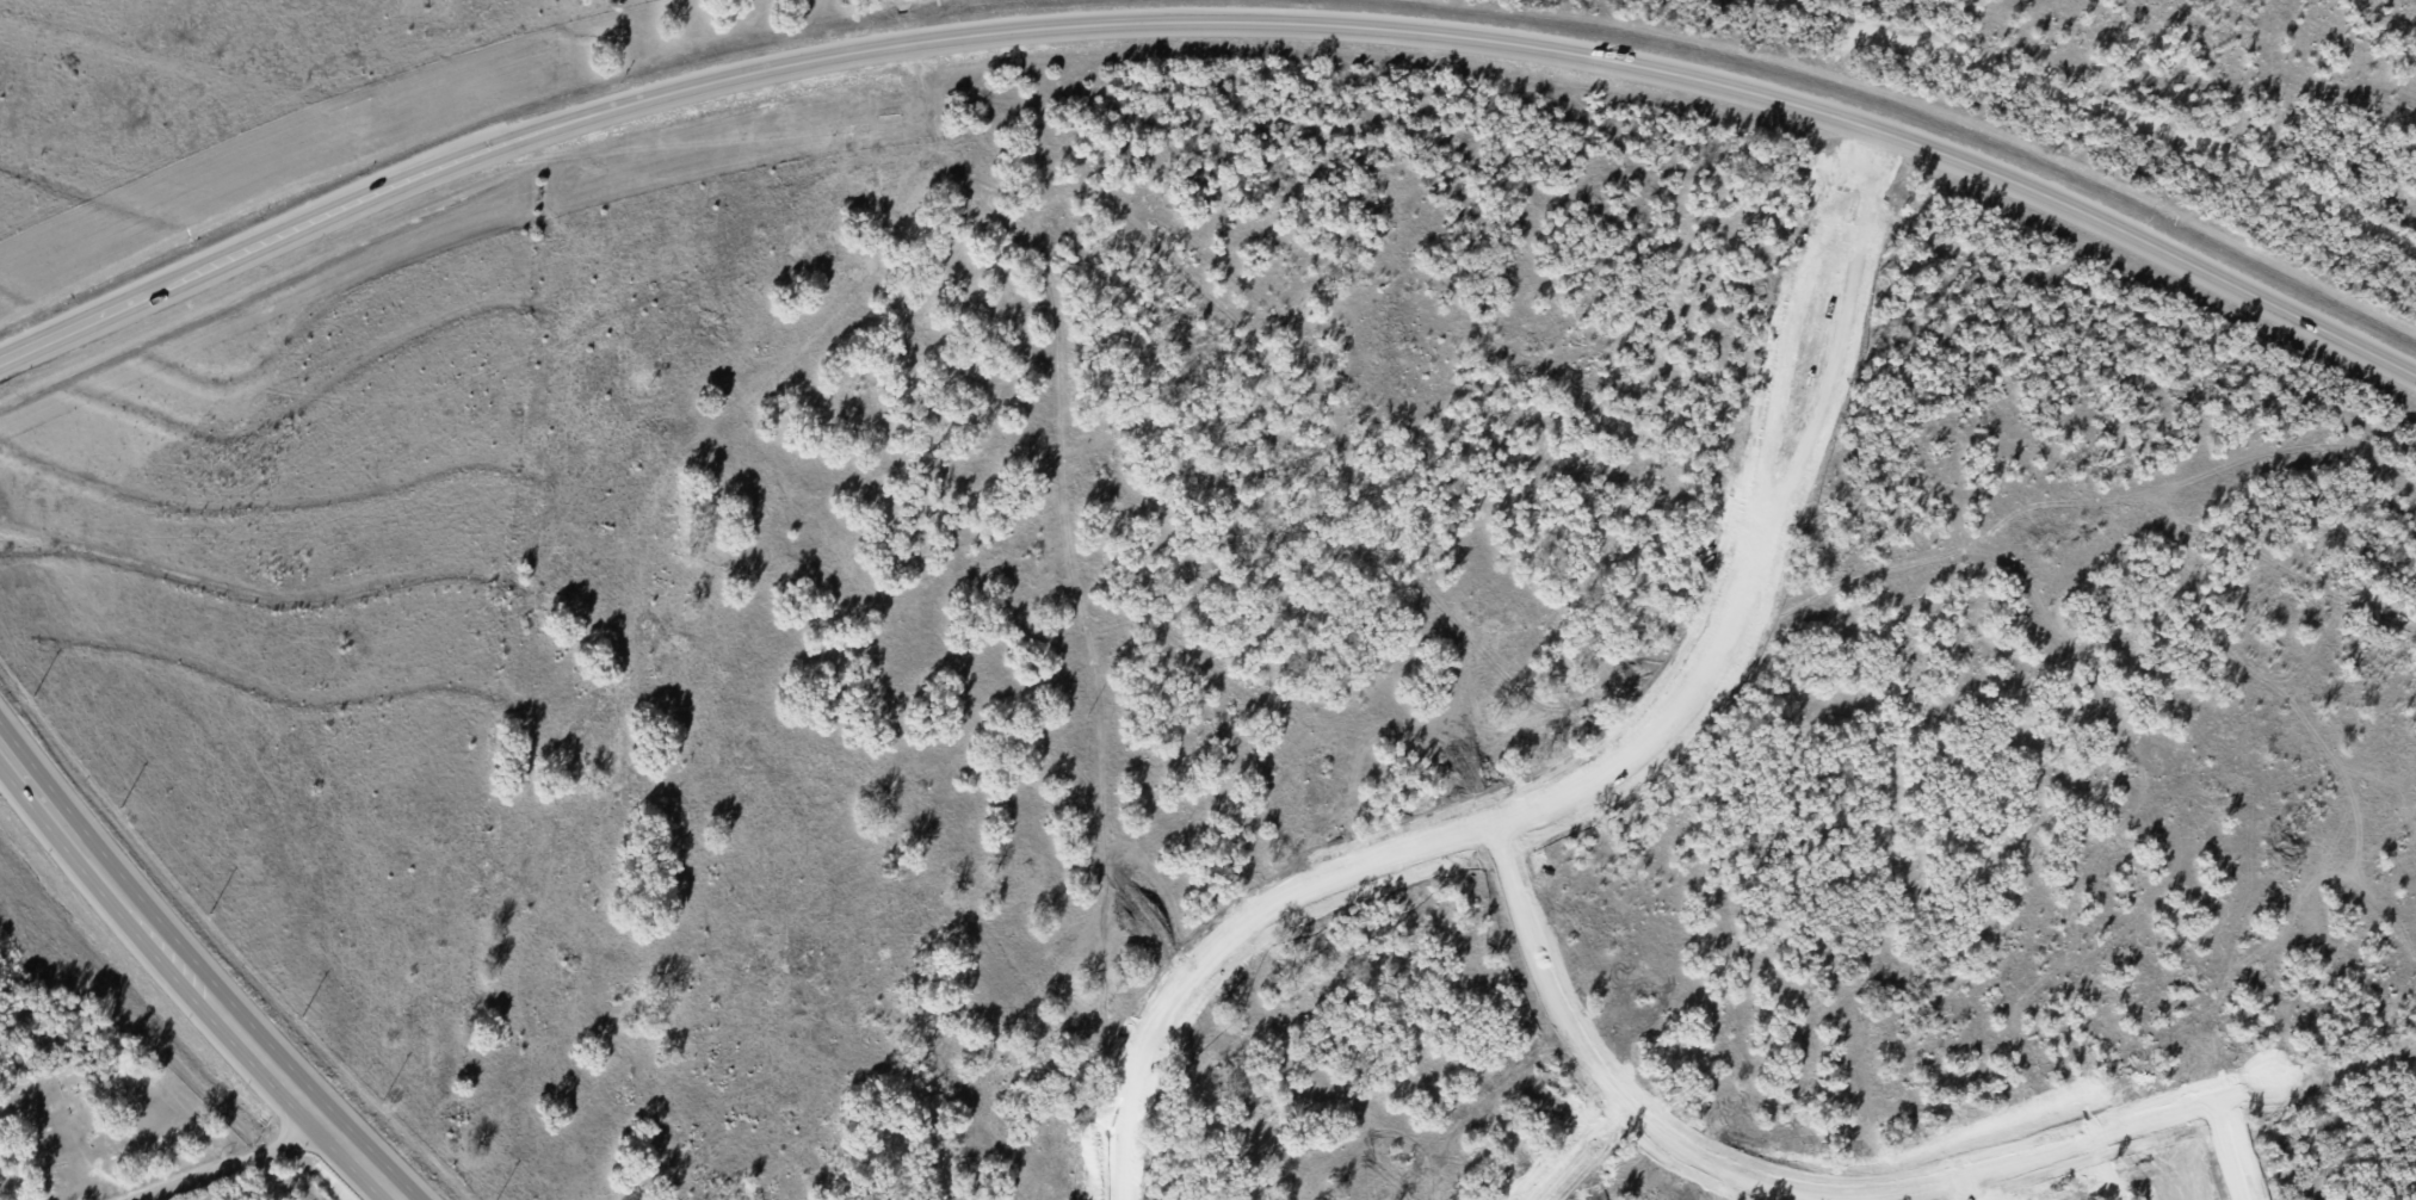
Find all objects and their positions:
road: (1211, 16)
road: (1745, 518)
road: (1765, 522)
road: (2336, 573)
road: (2354, 822)
road: (1419, 850)
road: (192, 976)
park: (101, 1126)
road: (2149, 1132)
road: (1644, 1136)
road: (1581, 1150)
road: (2230, 1150)
road: (2244, 1156)
road: (234, 1162)
road: (2050, 1162)
road: (1960, 1189)
road: (1866, 1195)
road: (1936, 1198)

